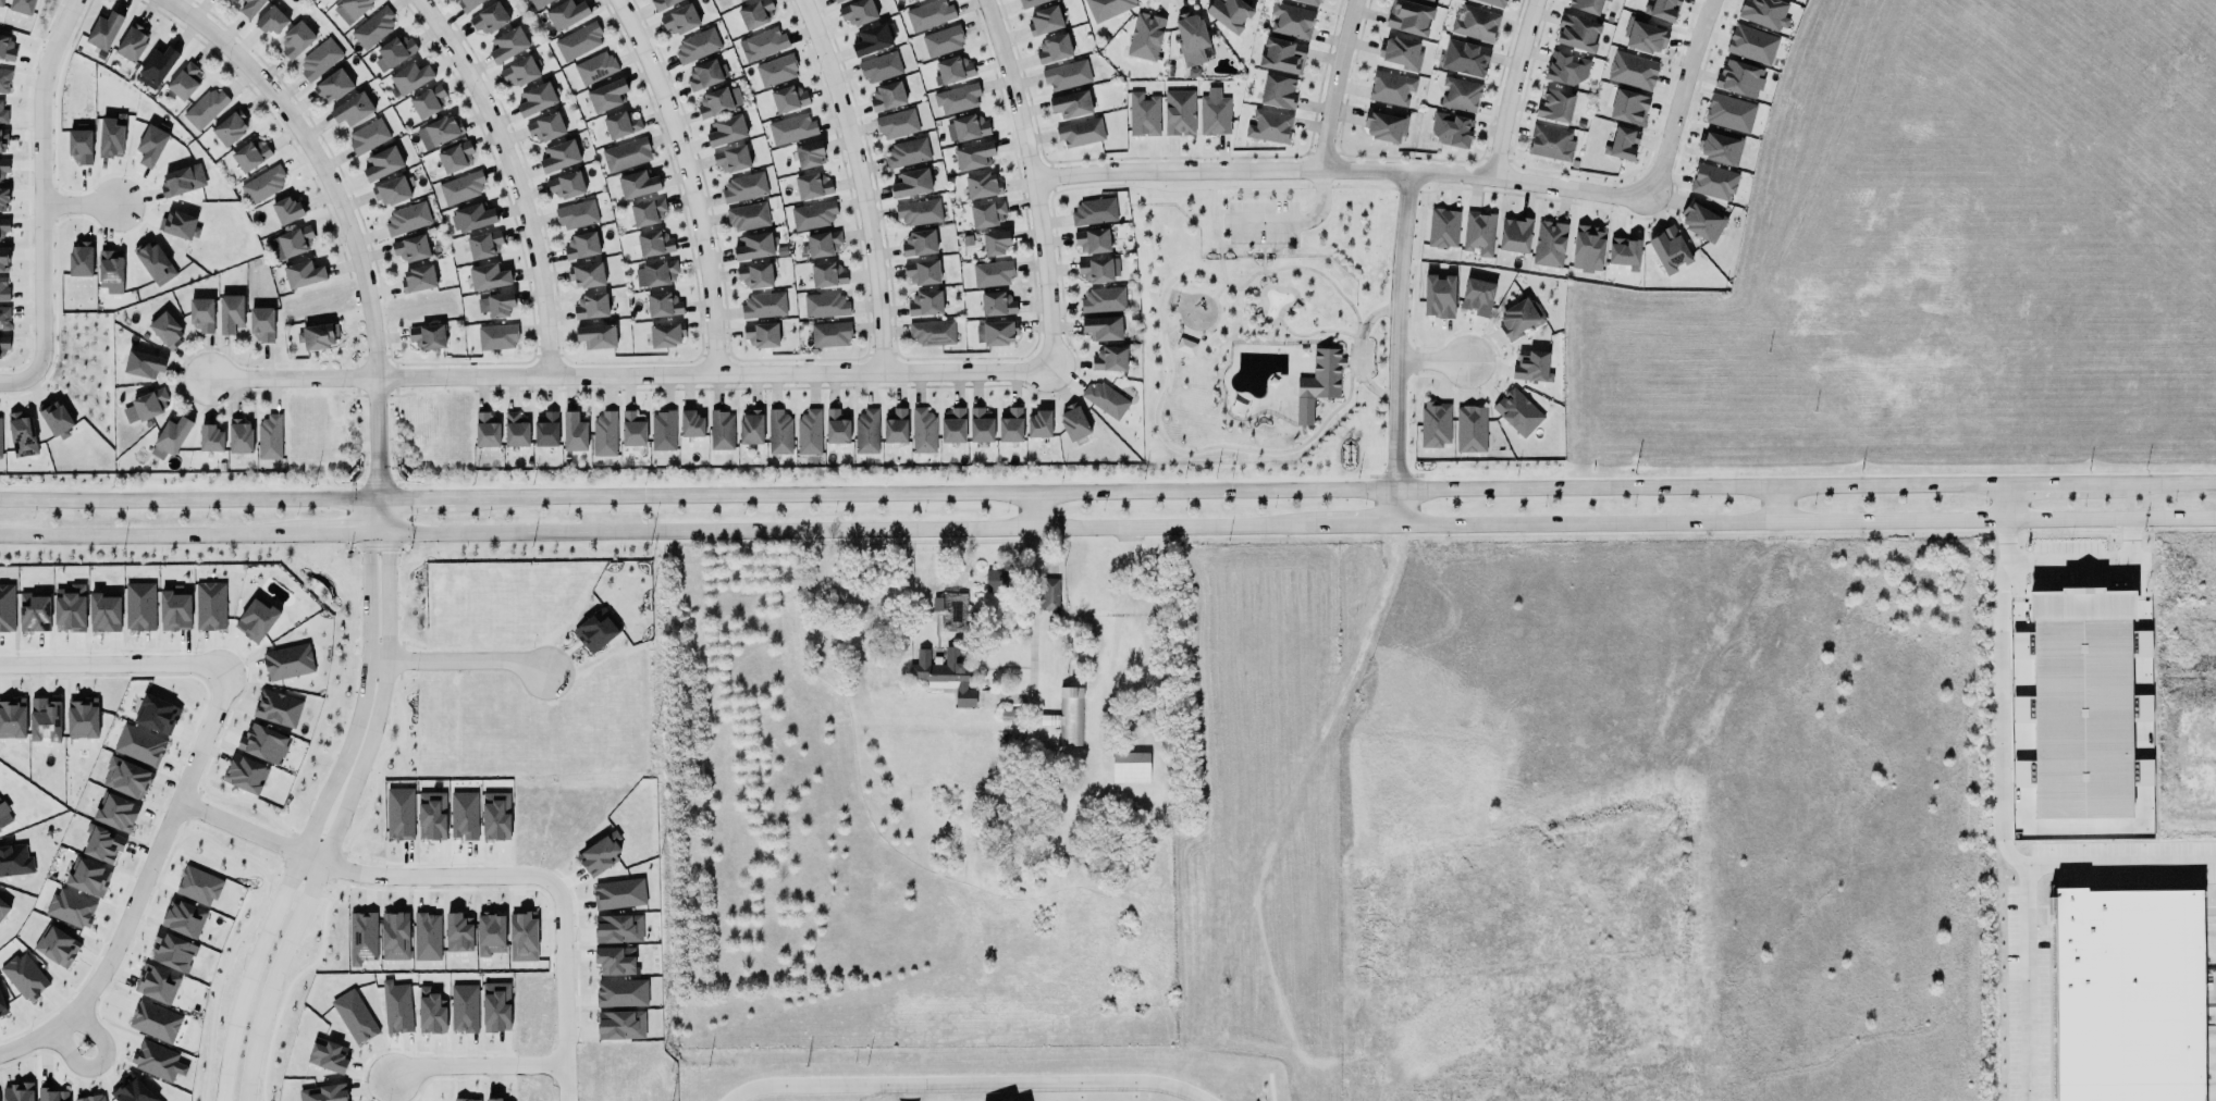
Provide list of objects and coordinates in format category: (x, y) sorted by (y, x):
building: (739, 0)
building: (914, 0)
building: (1429, 0)
building: (1608, 0)
building: (1, 1)
building: (836, 1)
building: (1027, 2)
building: (1307, 2)
building: (1492, 2)
building: (537, 3)
building: (660, 3)
building: (467, 4)
building: (1586, 5)
building: (23, 7)
building: (248, 7)
building: (1105, 8)
building: (348, 9)
building: (567, 11)
building: (1660, 11)
building: (858, 12)
building: (1761, 12)
building: (755, 13)
building: (1229, 13)
building: (928, 14)
building: (1044, 16)
building: (489, 17)
building: (1407, 17)
building: (1290, 18)
building: (680, 20)
building: (269, 21)
building: (1476, 23)
building: (103, 27)
building: (373, 28)
building: (1577, 33)
building: (1141, 35)
building: (1641, 37)
building: (871, 38)
building: (1187, 38)
building: (294, 39)
building: (132, 40)
building: (578, 40)
building: (762, 41)
building: (943, 41)
building: (506, 45)
building: (695, 45)
building: (1747, 45)
building: (7, 48)
building: (1054, 49)
building: (394, 52)
building: (1399, 52)
building: (1280, 55)
building: (1463, 55)
building: (320, 59)
building: (878, 66)
building: (157, 67)
building: (519, 67)
building: (594, 67)
building: (1564, 67)
building: (952, 70)
building: (1629, 70)
building: (776, 71)
building: (410, 74)
building: (706, 74)
building: (1064, 74)
building: (1738, 79)
building: (4, 81)
building: (183, 81)
road: (1333, 85)
building: (333, 86)
road: (1512, 87)
building: (1391, 88)
building: (606, 90)
building: (1276, 91)
building: (1457, 94)
building: (886, 95)
building: (534, 97)
building: (787, 98)
building: (955, 98)
building: (426, 101)
building: (718, 101)
building: (1071, 104)
building: (352, 106)
building: (1553, 106)
building: (206, 108)
building: (1625, 108)
building: (1179, 110)
building: (1726, 112)
building: (3, 113)
building: (1215, 113)
building: (1143, 114)
building: (619, 121)
building: (1382, 122)
building: (895, 123)
building: (1267, 125)
building: (543, 127)
building: (965, 127)
building: (227, 128)
building: (791, 128)
building: (442, 129)
building: (726, 131)
building: (1080, 132)
building: (1450, 132)
building: (111, 136)
building: (368, 136)
building: (3, 140)
building: (1551, 143)
building: (1620, 143)
building: (79, 145)
building: (151, 145)
building: (1718, 148)
building: (907, 152)
building: (624, 153)
building: (809, 154)
building: (248, 156)
building: (559, 156)
building: (972, 156)
building: (455, 157)
building: (730, 160)
building: (381, 163)
building: (3, 170)
road: (1448, 173)
road: (514, 177)
building: (910, 180)
building: (183, 181)
building: (637, 181)
road: (689, 181)
road: (861, 182)
building: (262, 183)
building: (811, 183)
road: (1034, 183)
building: (1710, 184)
building: (566, 185)
building: (982, 185)
building: (741, 186)
building: (461, 187)
road: (1218, 187)
building: (391, 191)
road: (35, 196)
building: (3, 199)
road: (74, 206)
building: (645, 207)
building: (285, 210)
building: (1094, 211)
building: (919, 212)
building: (575, 213)
building: (985, 213)
building: (812, 214)
building: (473, 217)
building: (748, 217)
road: (344, 218)
building: (407, 219)
parking lot: (1259, 221)
building: (1700, 223)
building: (180, 224)
road: (1291, 224)
building: (1439, 225)
building: (3, 226)
building: (1477, 232)
building: (1512, 237)
building: (652, 240)
building: (1093, 240)
building: (290, 243)
building: (822, 243)
building: (994, 243)
building: (919, 244)
building: (1546, 244)
building: (482, 245)
building: (581, 245)
road: (1267, 245)
building: (409, 247)
building: (753, 247)
building: (1585, 248)
building: (1666, 250)
building: (1622, 251)
building: (3, 259)
building: (81, 260)
building: (155, 263)
road: (1260, 264)
building: (658, 270)
building: (1094, 270)
road: (1193, 270)
building: (110, 272)
building: (922, 272)
building: (304, 274)
building: (992, 274)
building: (586, 275)
building: (755, 275)
building: (827, 275)
building: (487, 276)
building: (418, 279)
road: (1219, 286)
building: (3, 288)
building: (1439, 292)
building: (1477, 297)
building: (500, 300)
building: (1104, 300)
water park: (1273, 301)
building: (661, 302)
building: (824, 304)
building: (924, 304)
building: (995, 304)
building: (762, 305)
building: (589, 307)
building: (230, 309)
road: (1278, 312)
building: (199, 314)
building: (3, 317)
building: (1518, 319)
building: (261, 321)
park: (1261, 326)
building: (995, 329)
building: (1103, 329)
building: (167, 330)
building: (596, 332)
building: (829, 332)
building: (931, 332)
road: (1310, 332)
building: (665, 333)
building: (760, 335)
road: (1187, 335)
building: (317, 336)
building: (427, 337)
building: (497, 337)
building: (3, 343)
building: (1184, 346)
road: (1394, 348)
road: (1358, 349)
building: (1107, 358)
building: (143, 359)
road: (1429, 359)
road: (1346, 362)
building: (1531, 366)
road: (1353, 372)
road: (628, 375)
road: (1362, 376)
building: (1317, 382)
building: (1099, 399)
building: (145, 406)
building: (1516, 410)
building: (56, 417)
building: (1072, 422)
building: (1433, 422)
building: (691, 424)
building: (750, 424)
building: (977, 424)
building: (1039, 424)
building: (631, 425)
building: (952, 425)
building: (1009, 425)
building: (836, 426)
building: (894, 428)
building: (662, 429)
building: (1470, 429)
building: (487, 430)
building: (546, 430)
building: (721, 430)
building: (513, 431)
building: (921, 431)
building: (574, 432)
building: (779, 432)
building: (809, 432)
building: (866, 432)
building: (21, 433)
building: (604, 434)
building: (238, 436)
building: (169, 437)
building: (270, 437)
building: (0, 438)
building: (209, 438)
road: (1302, 441)
road: (2158, 482)
road: (2051, 483)
road: (1233, 490)
road: (422, 498)
road: (188, 499)
road: (1777, 504)
road: (1035, 510)
road: (2000, 514)
road: (381, 517)
road: (1805, 521)
road: (1358, 525)
road: (854, 530)
road: (2126, 530)
road: (147, 534)
road: (340, 534)
road: (2063, 562)
building: (995, 581)
building: (1049, 595)
building: (936, 604)
building: (210, 606)
building: (139, 607)
building: (175, 609)
building: (34, 613)
building: (104, 613)
road: (1033, 613)
building: (256, 620)
building: (595, 631)
building: (286, 659)
road: (455, 659)
road: (152, 666)
building: (945, 675)
road: (360, 697)
building: (2082, 701)
building: (278, 708)
building: (157, 713)
building: (1010, 714)
building: (1067, 717)
building: (12, 718)
building: (45, 718)
building: (83, 718)
road: (373, 719)
building: (263, 743)
building: (140, 745)
building: (1130, 767)
building: (245, 774)
building: (126, 778)
building: (116, 812)
building: (3, 813)
building: (463, 813)
building: (399, 814)
building: (431, 816)
building: (495, 816)
road: (1996, 837)
road: (263, 838)
building: (102, 844)
building: (599, 855)
building: (13, 858)
road: (2117, 866)
building: (87, 877)
building: (198, 886)
building: (617, 892)
road: (551, 896)
building: (3, 904)
building: (71, 908)
building: (0, 915)
building: (183, 916)
road: (124, 923)
building: (618, 929)
building: (394, 931)
building: (458, 932)
building: (491, 933)
building: (427, 936)
building: (362, 937)
building: (522, 938)
building: (57, 945)
building: (172, 952)
building: (615, 961)
building: (25, 976)
building: (157, 984)
road: (242, 989)
building: (621, 992)
building: (2121, 992)
road: (266, 994)
building: (496, 1006)
building: (2, 1007)
building: (430, 1012)
building: (155, 1020)
building: (620, 1025)
building: (156, 1060)
road: (96, 1062)
road: (469, 1067)
road: (964, 1083)
building: (17, 1090)
building: (132, 1090)
building: (324, 1093)
building: (52, 1094)
building: (91, 1098)
building: (493, 1099)
building: (467, 1100)

